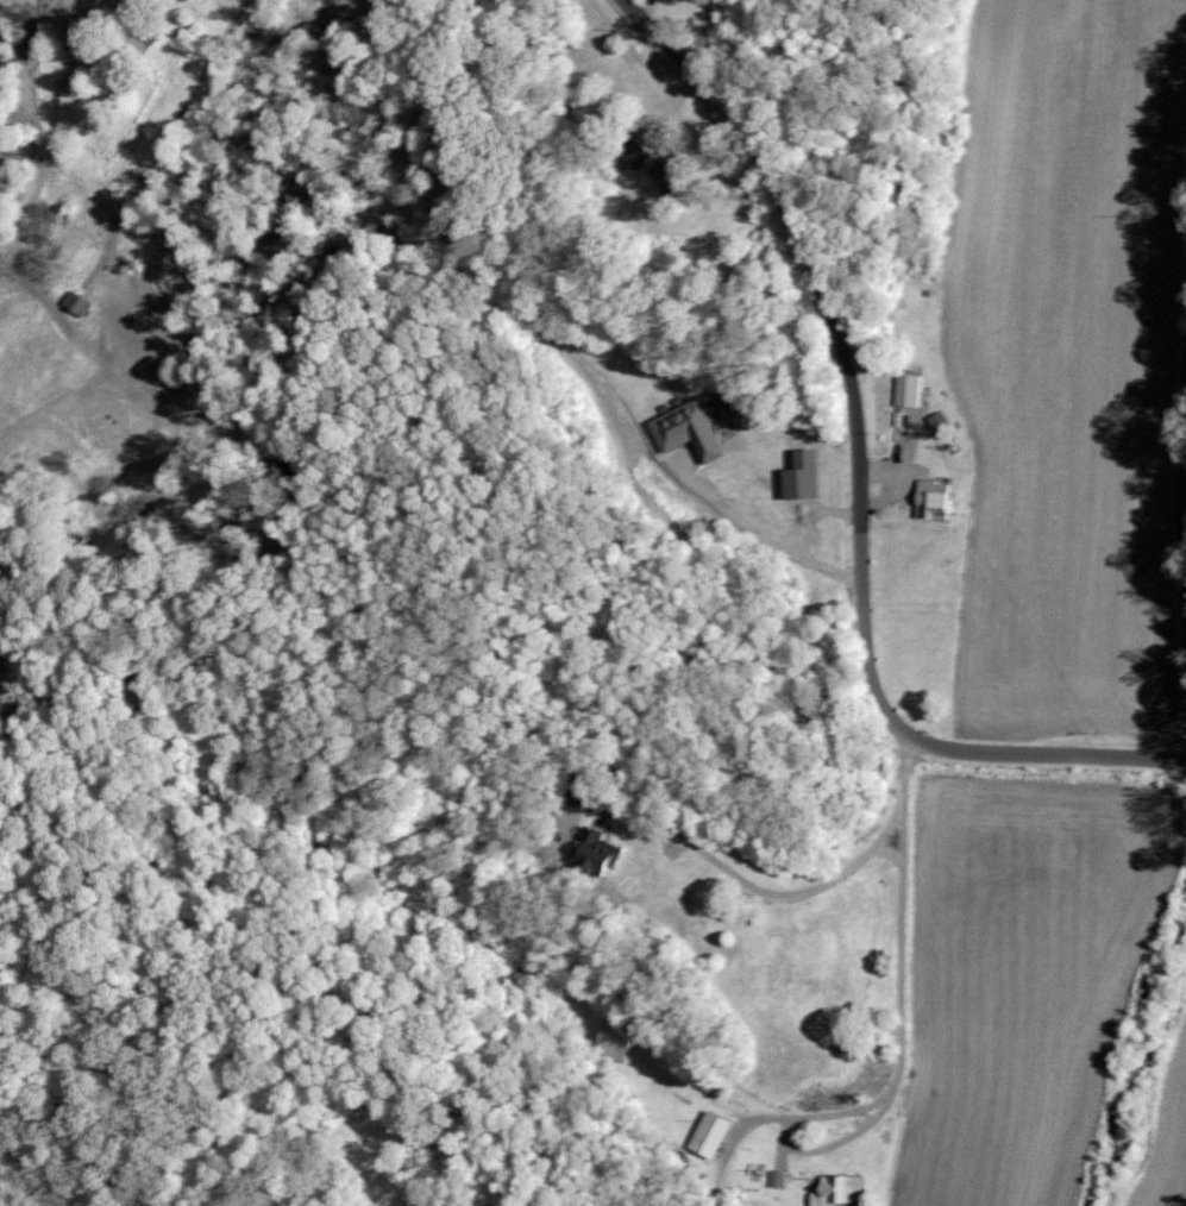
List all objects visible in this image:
building: (635, 153)
building: (661, 171)
building: (75, 302)
building: (906, 389)
building: (720, 406)
building: (686, 429)
building: (801, 475)
road: (1178, 485)
road: (856, 488)
building: (930, 498)
road: (809, 510)
road: (760, 535)
building: (572, 798)
building: (594, 850)
road: (752, 894)
road: (901, 931)
building: (616, 1039)
building: (708, 1133)
road: (866, 1135)
building: (777, 1177)
building: (835, 1189)

